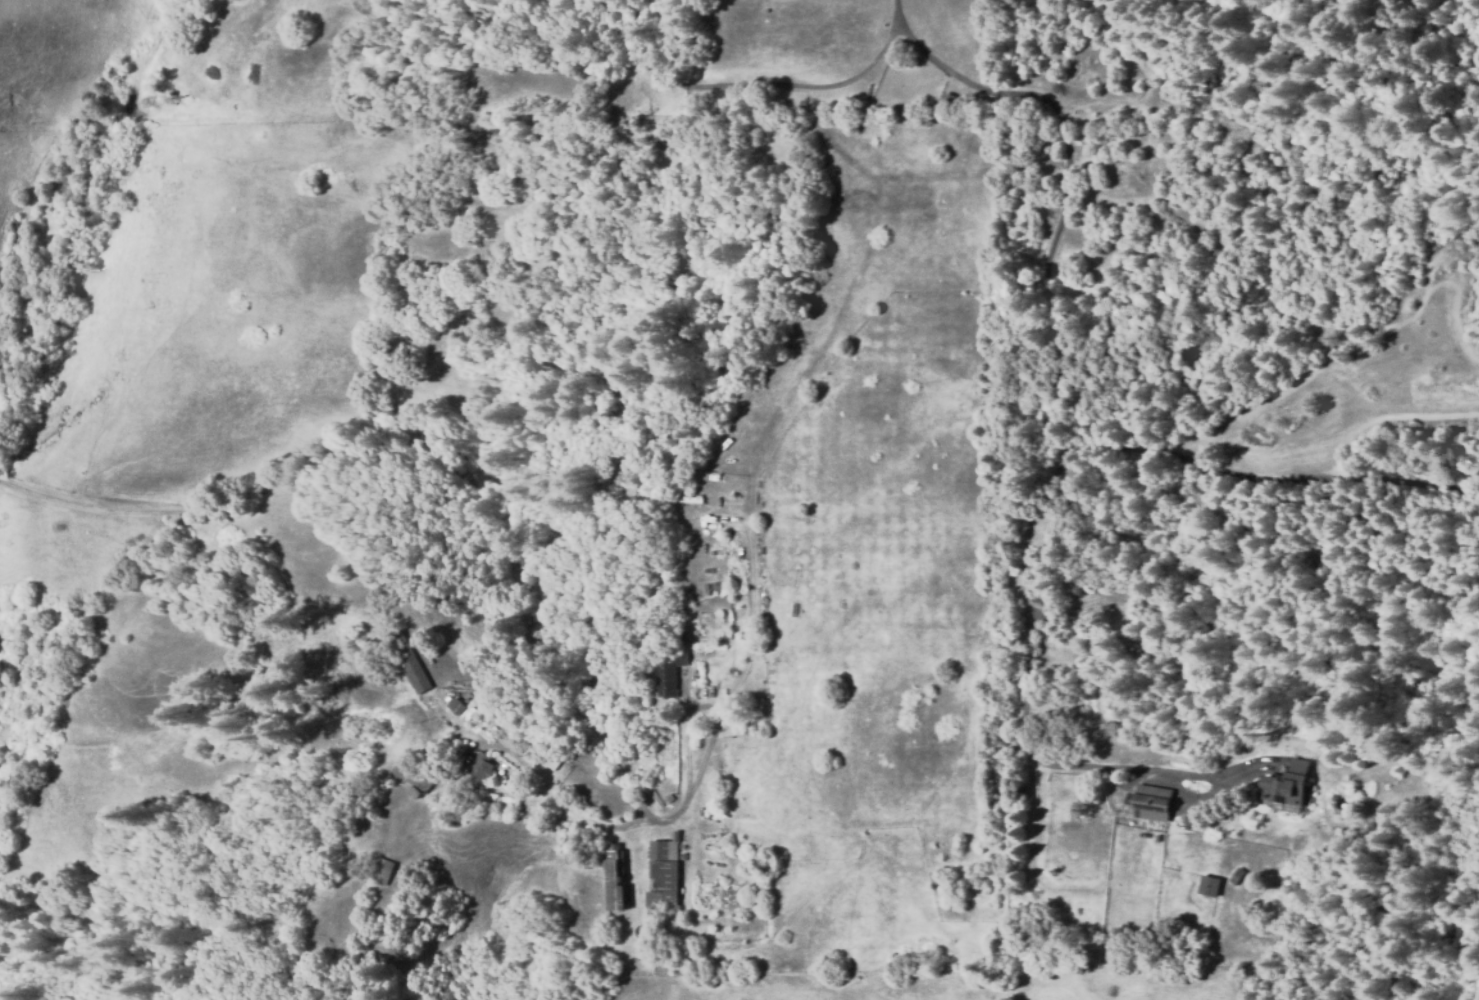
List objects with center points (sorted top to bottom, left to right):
building: (232, 0)
road: (896, 7)
road: (1045, 390)
road: (74, 515)
building: (412, 664)
building: (668, 675)
building: (456, 707)
building: (482, 766)
building: (420, 782)
building: (1288, 787)
building: (670, 797)
building: (1153, 802)
building: (1158, 838)
building: (1071, 857)
building: (383, 871)
building: (616, 875)
building: (665, 876)
building: (1238, 876)
building: (1210, 885)
building: (1070, 889)

